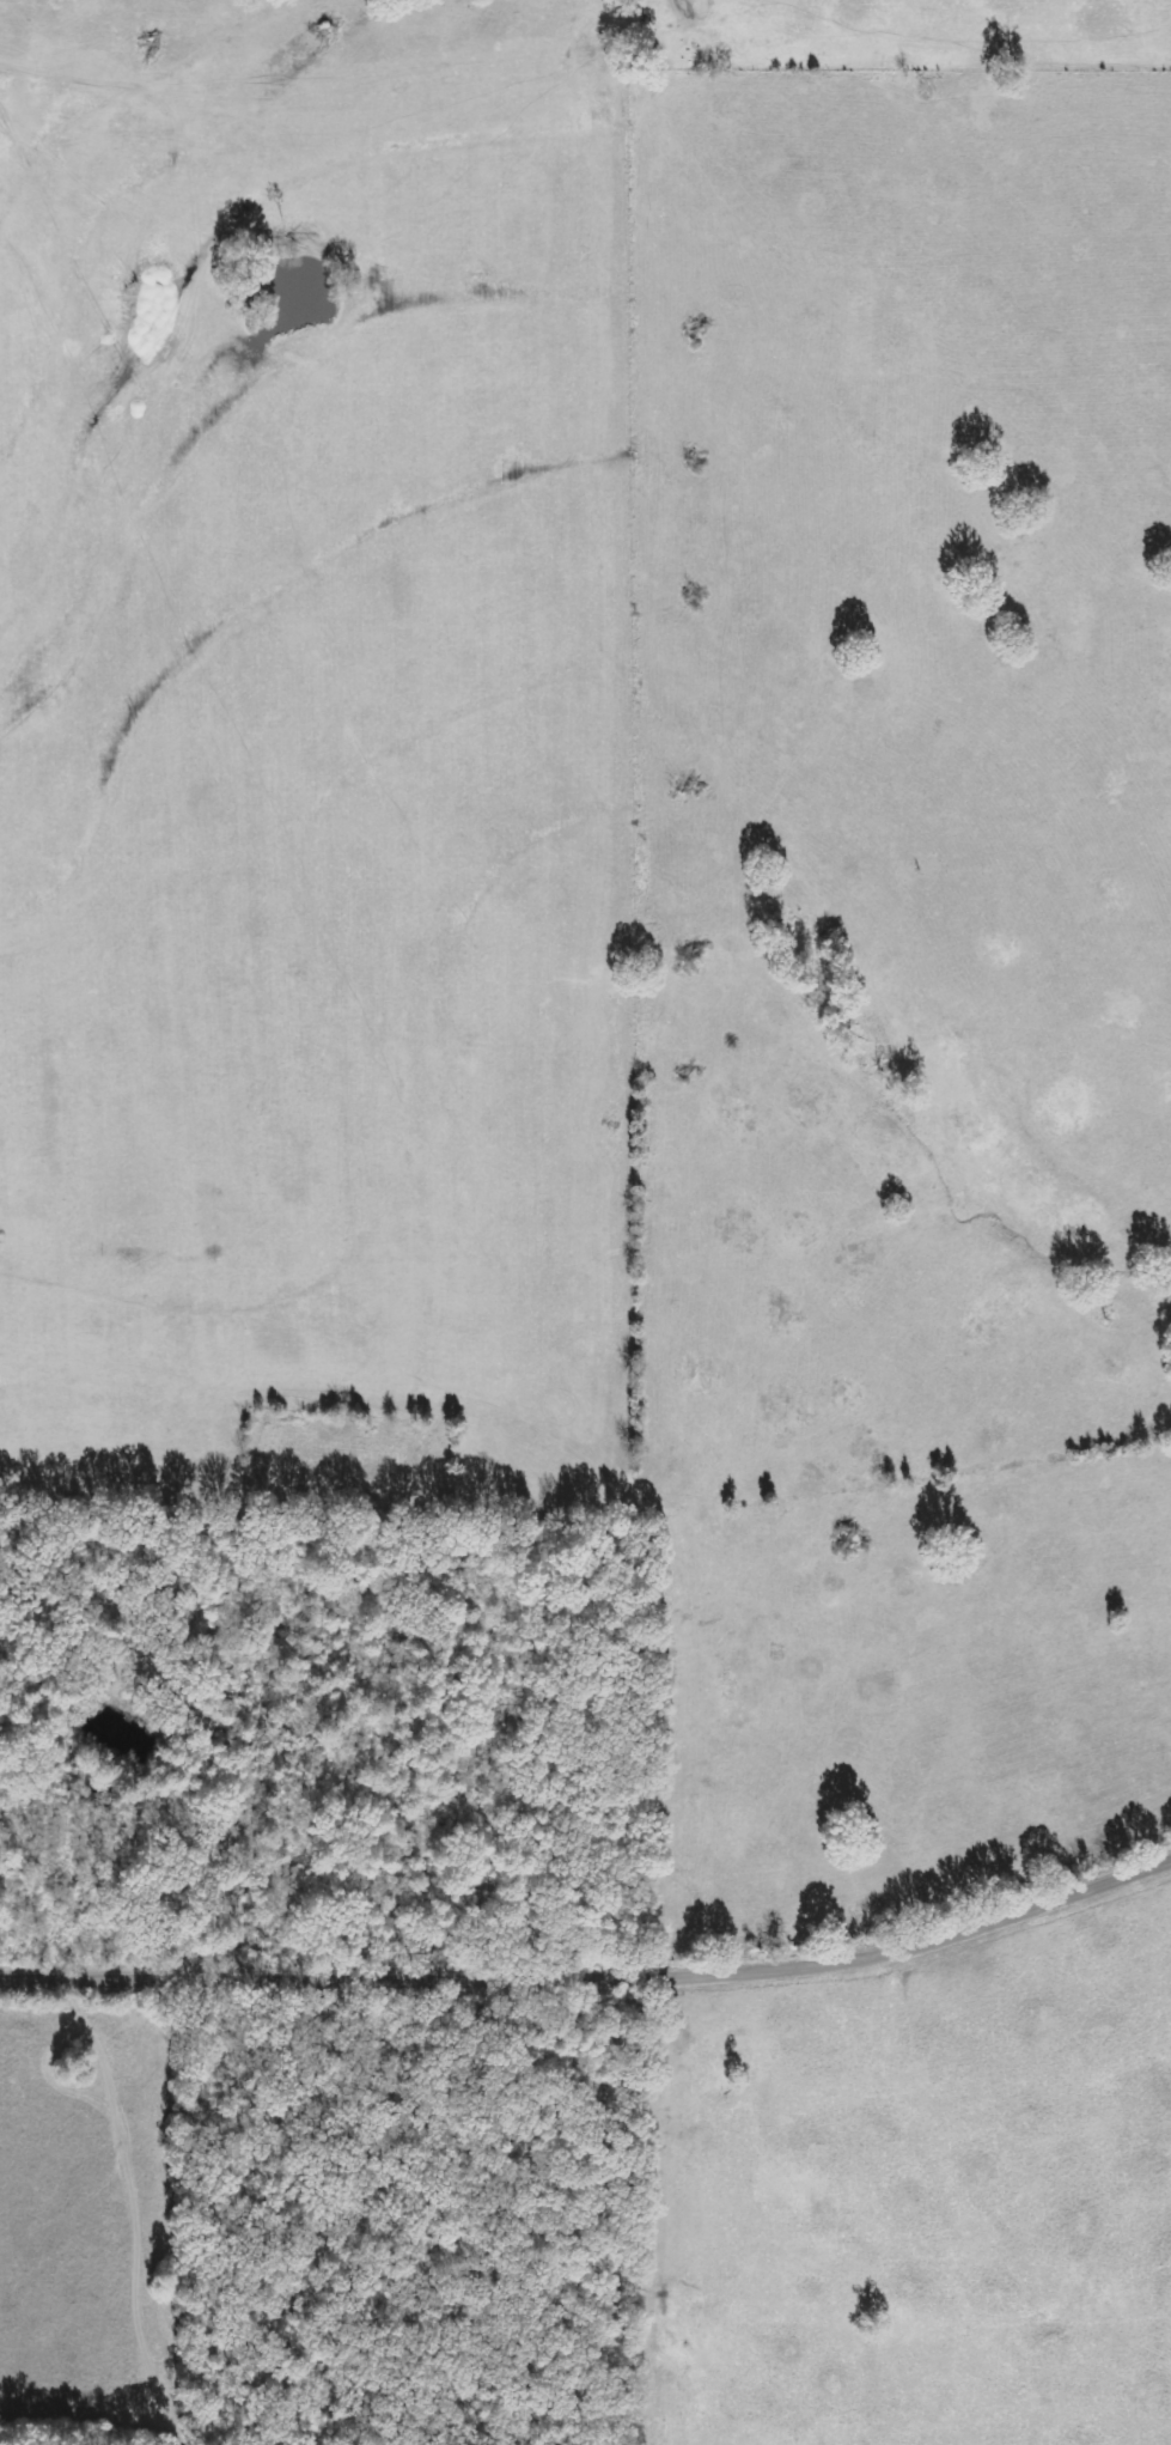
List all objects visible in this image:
road: (593, 1979)

